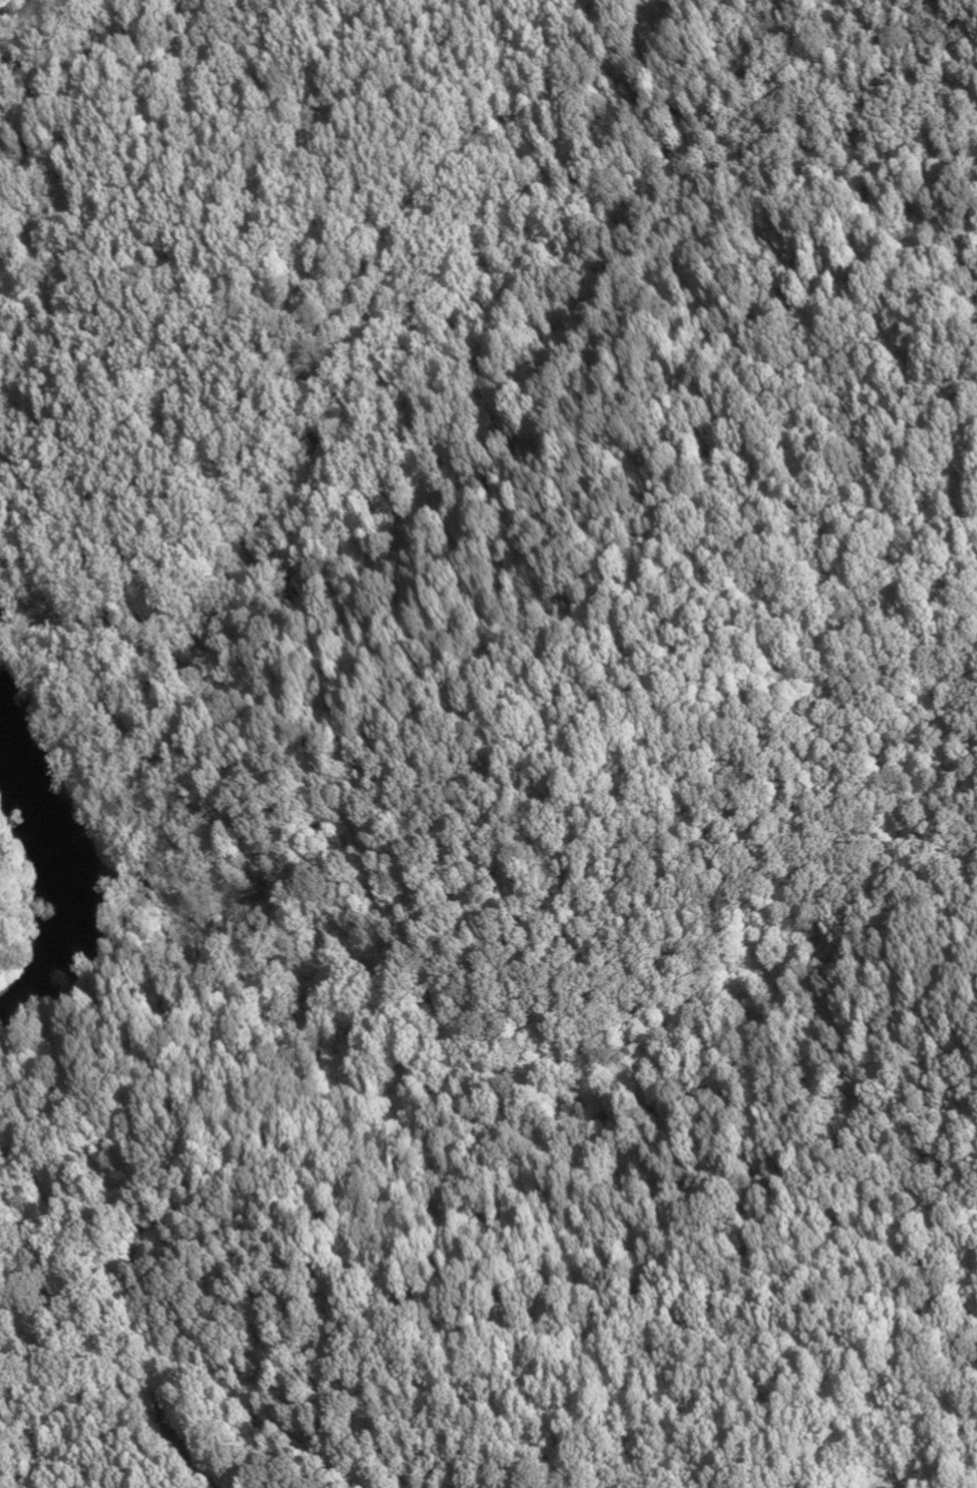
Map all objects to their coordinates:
river: (55, 890)
road: (206, 1392)

